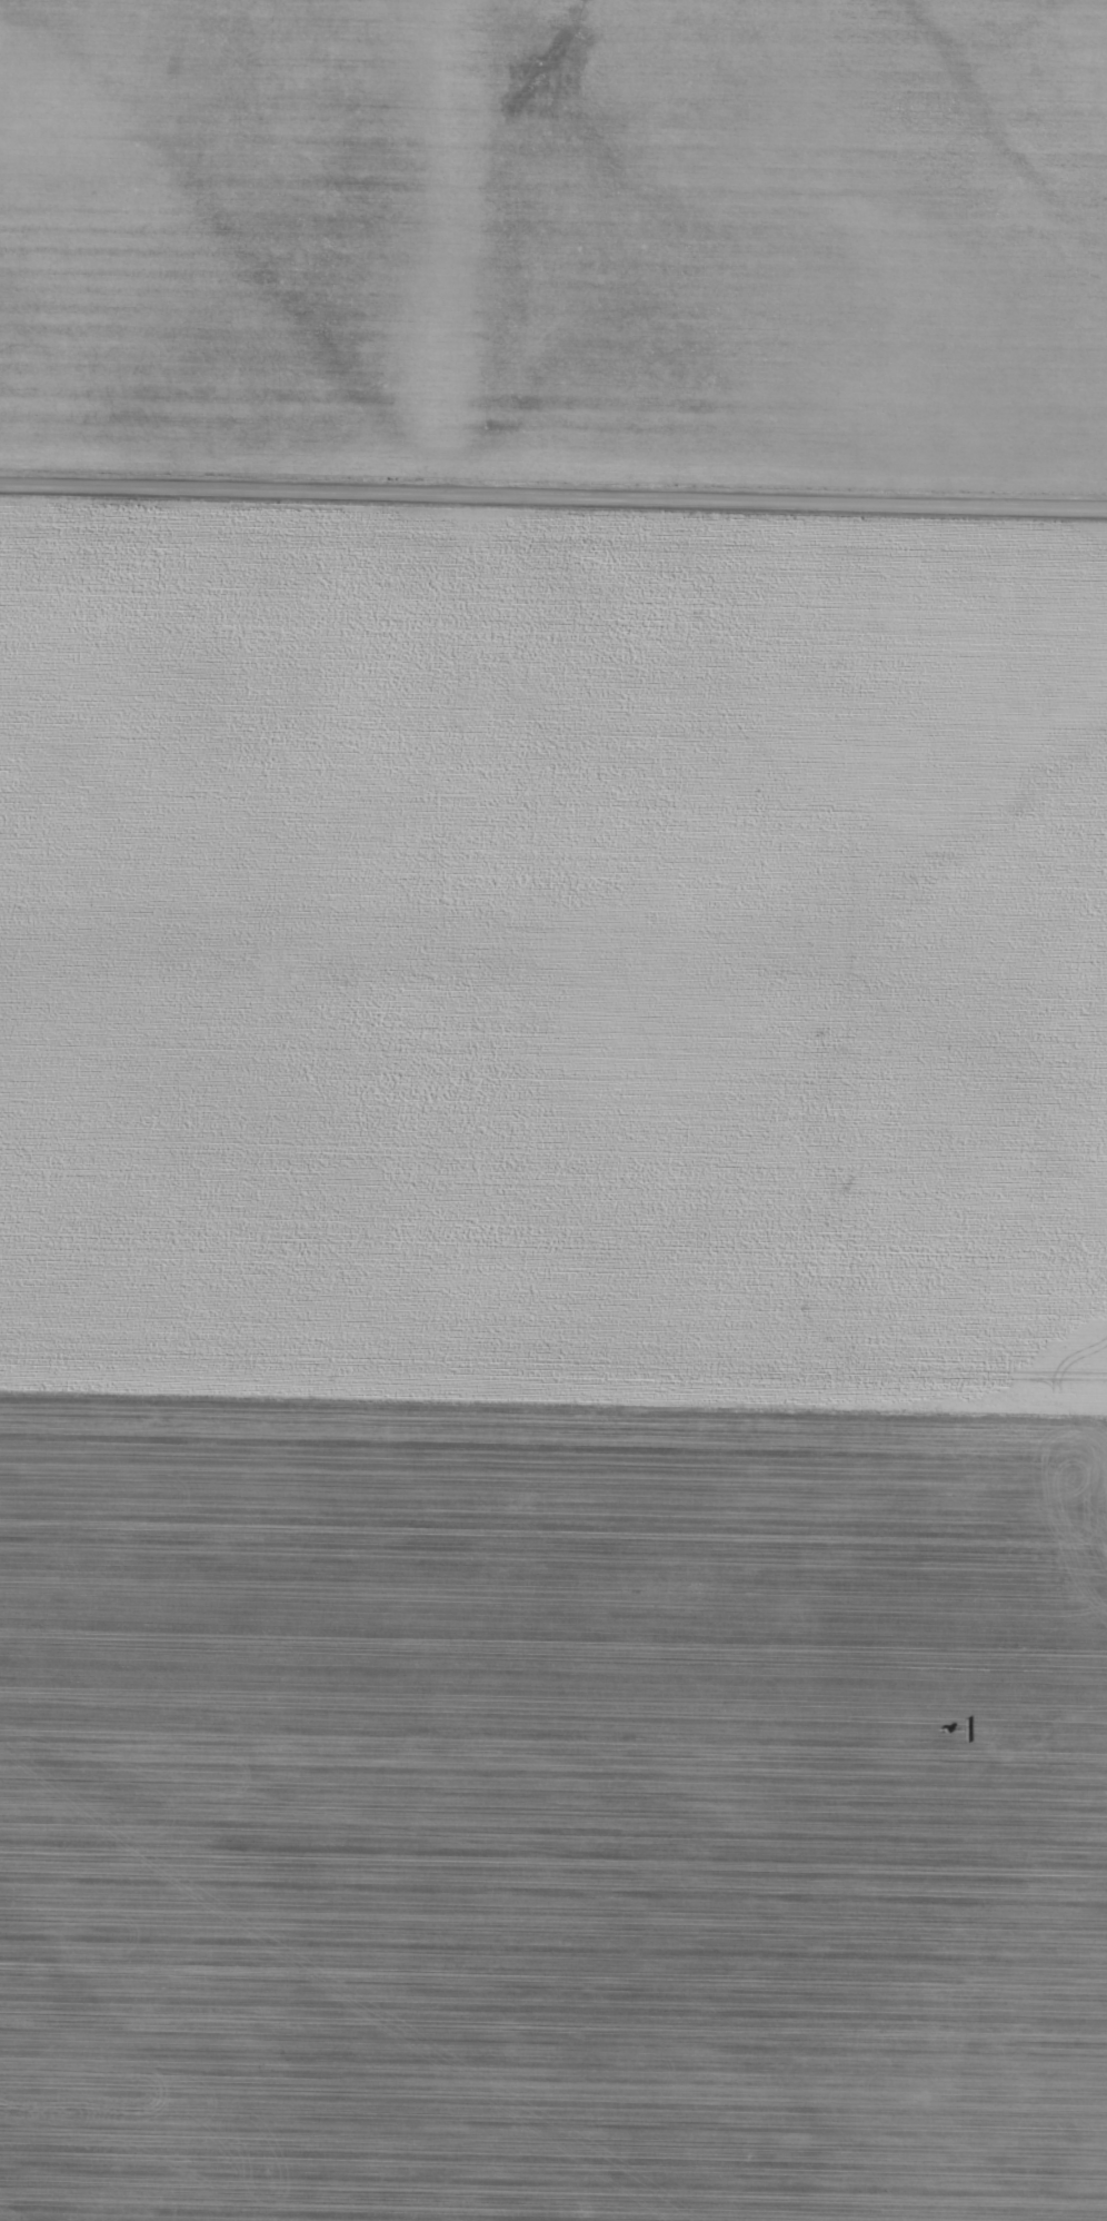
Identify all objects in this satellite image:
road: (553, 493)

